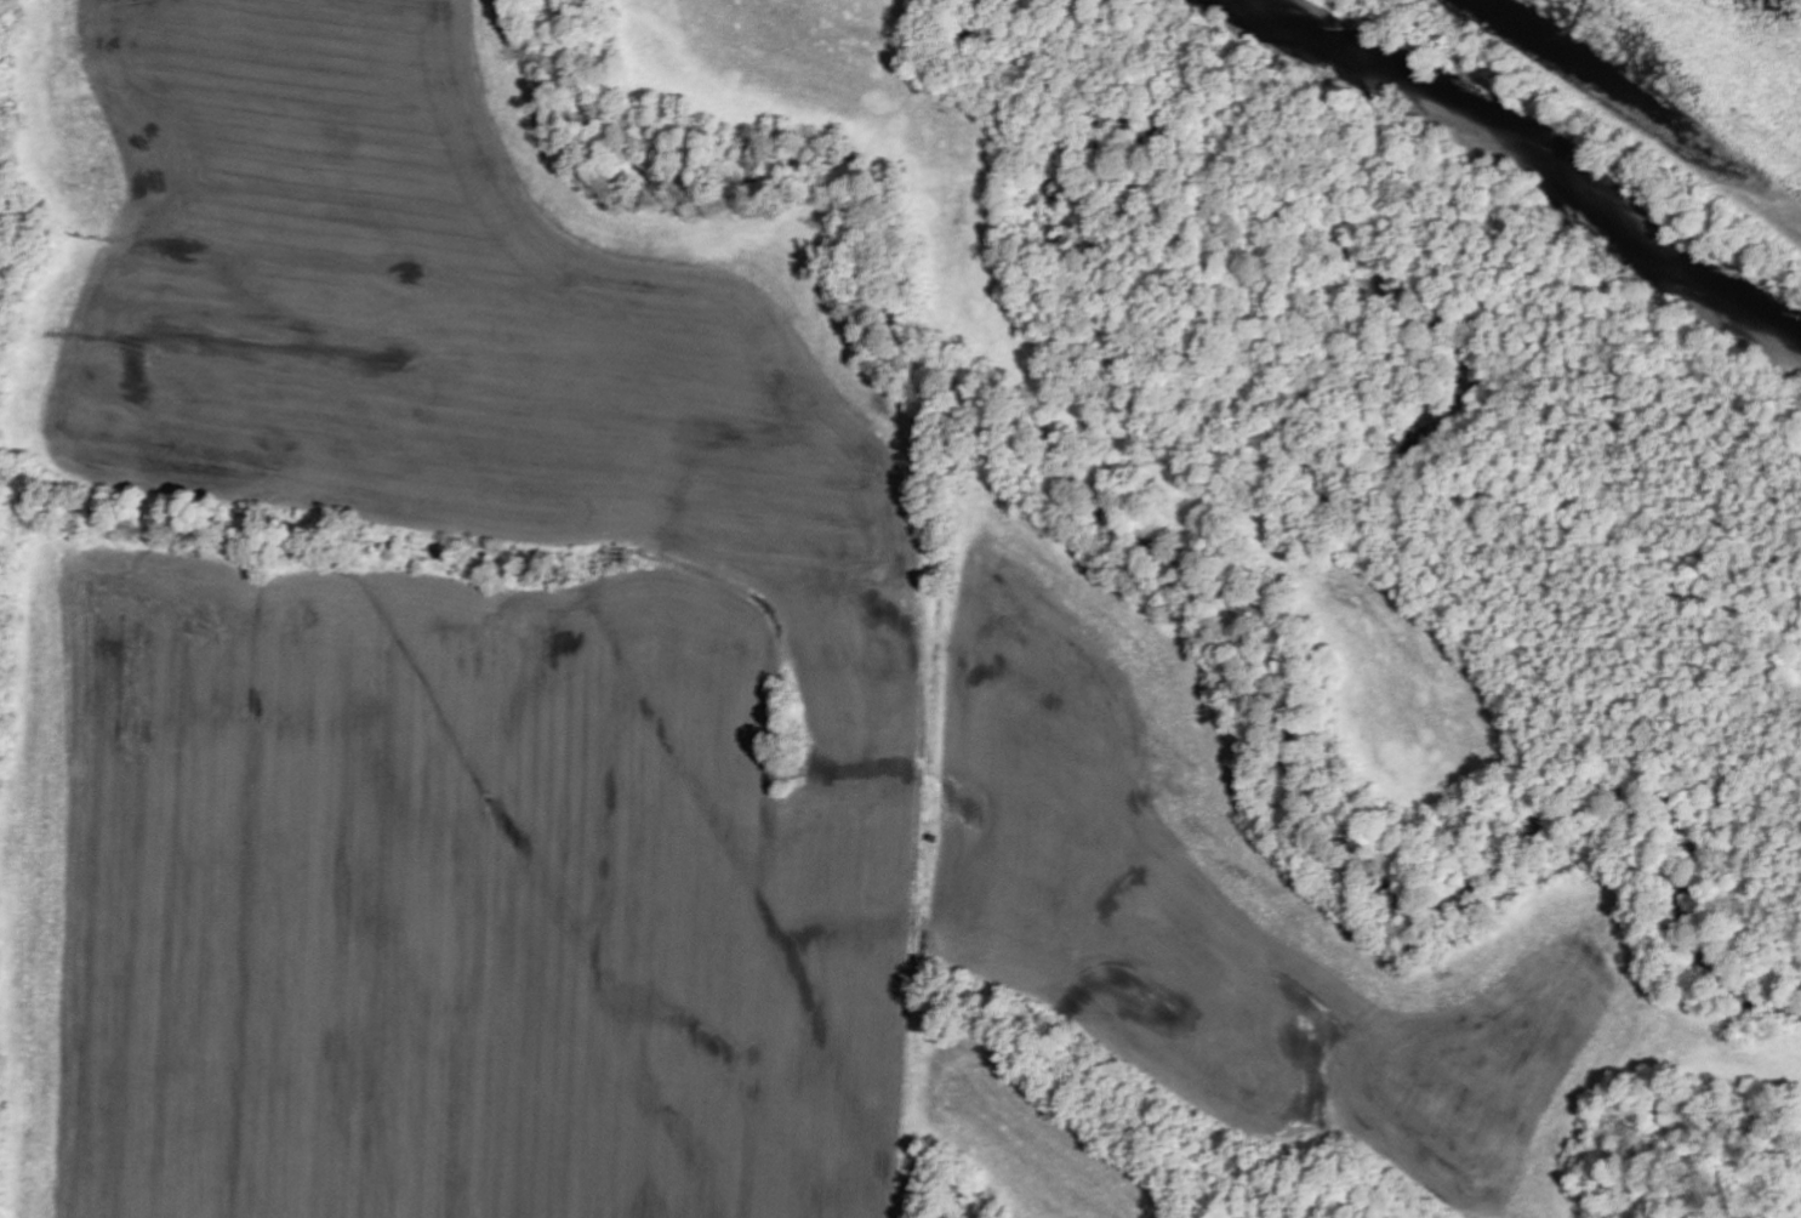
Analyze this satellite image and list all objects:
river: (1535, 150)

